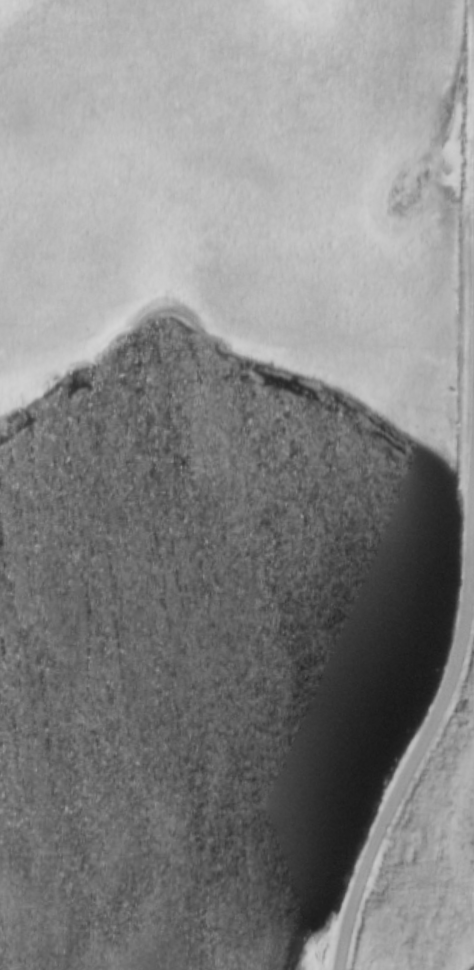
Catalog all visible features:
road: (412, 773)

